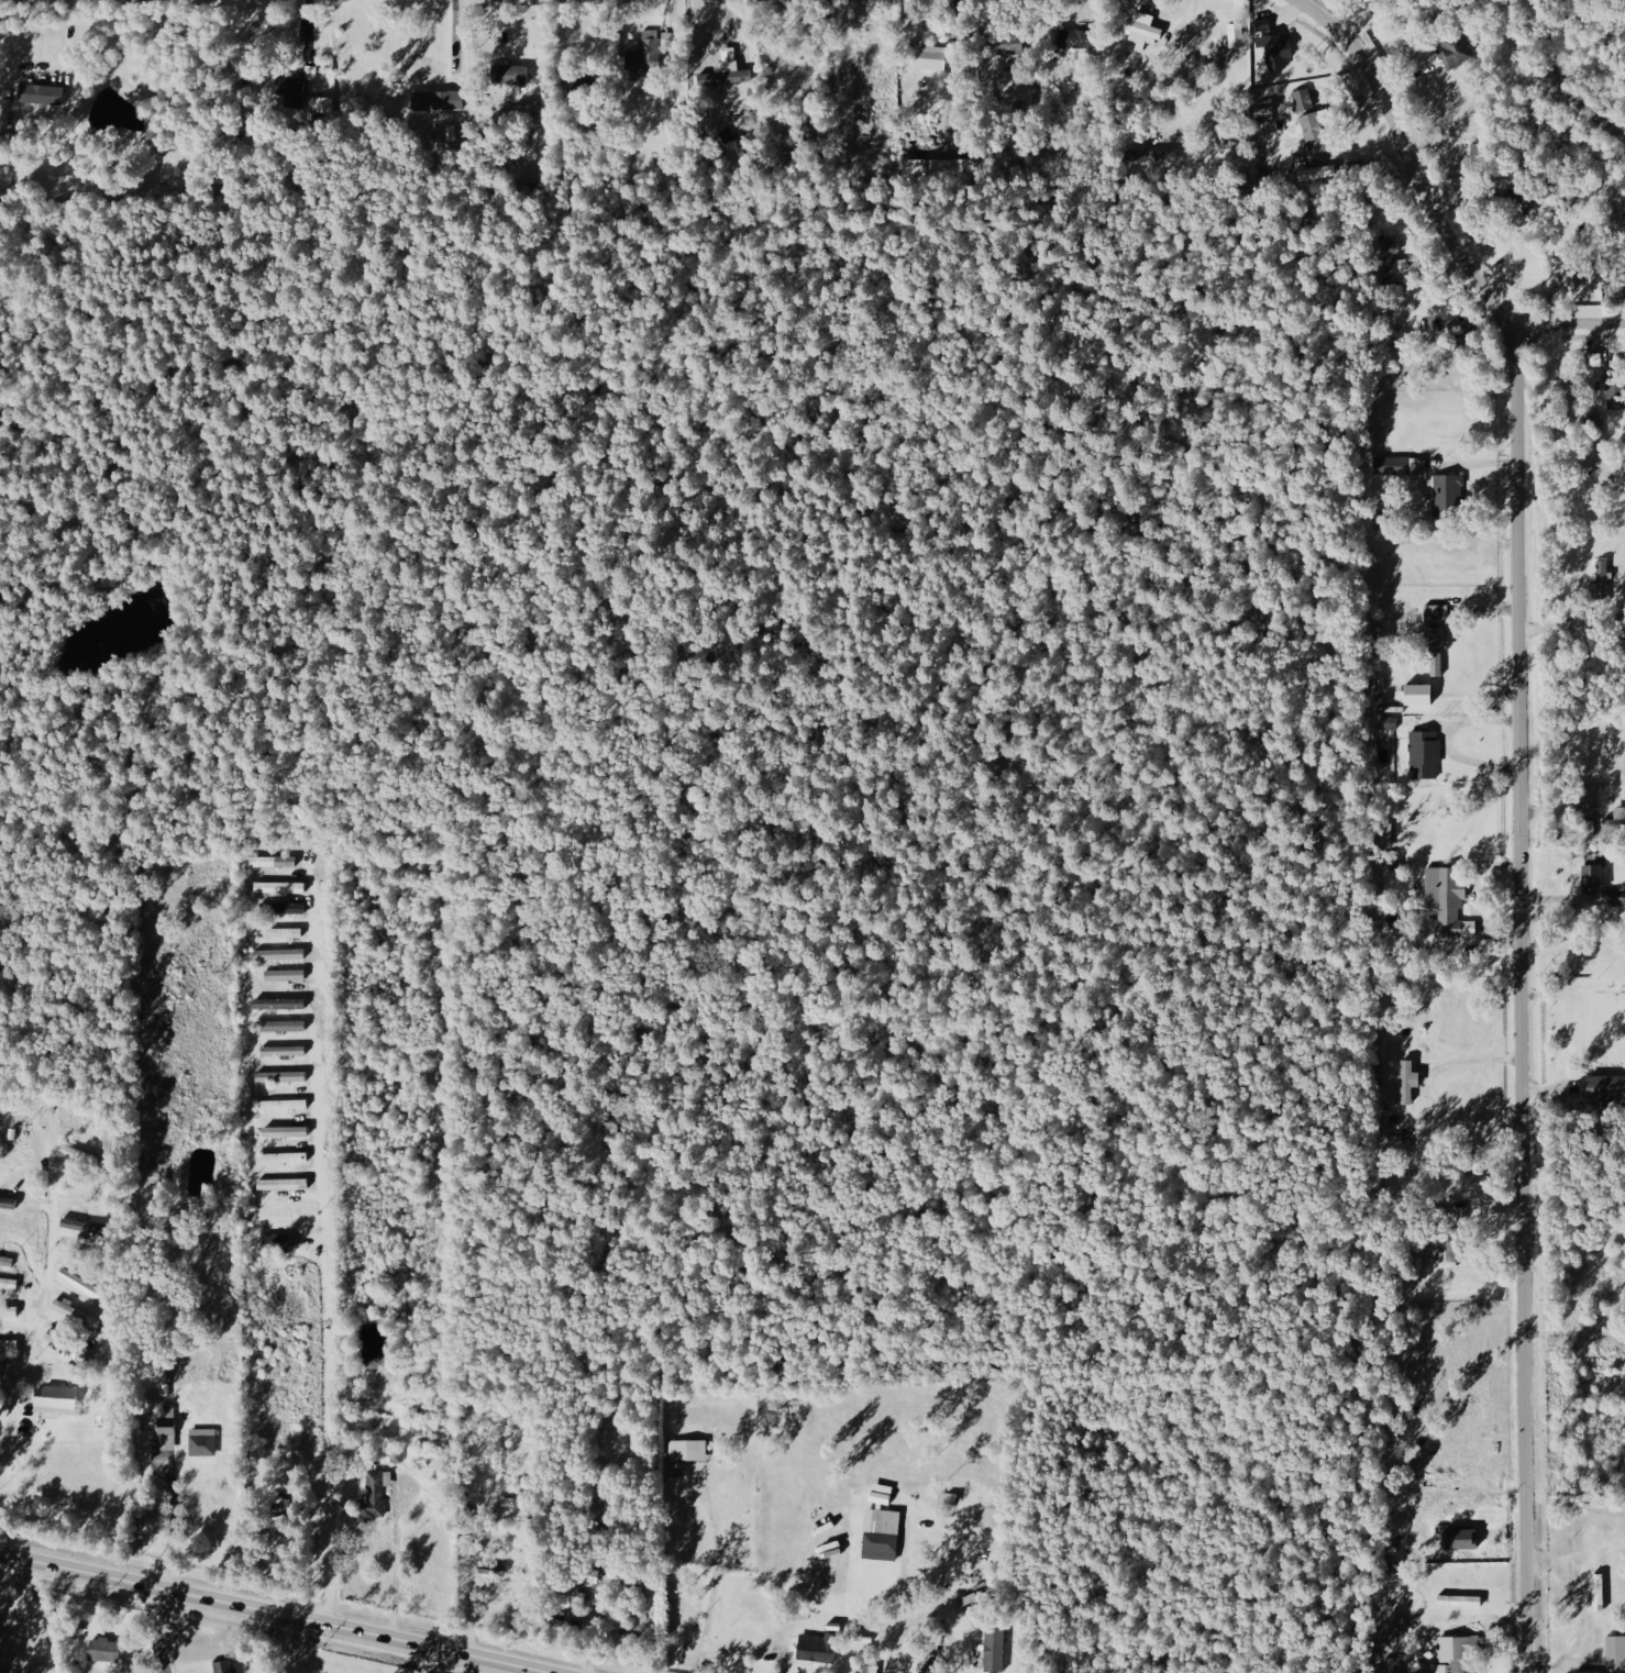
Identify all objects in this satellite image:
building: (1142, 26)
building: (1235, 35)
building: (1073, 38)
building: (1267, 43)
building: (1451, 52)
building: (644, 54)
building: (928, 57)
building: (725, 74)
building: (508, 75)
road: (1561, 80)
building: (295, 84)
building: (43, 95)
building: (432, 100)
building: (1307, 120)
road: (1410, 163)
building: (933, 167)
building: (1317, 173)
building: (1392, 257)
building: (1568, 275)
road: (1569, 320)
building: (1614, 391)
building: (1401, 466)
building: (1450, 489)
building: (1601, 579)
building: (1435, 613)
building: (1437, 650)
building: (1415, 696)
building: (1386, 723)
building: (1423, 755)
building: (1589, 828)
building: (272, 861)
building: (1589, 879)
building: (283, 887)
building: (1446, 902)
building: (289, 907)
building: (289, 932)
building: (283, 954)
building: (288, 974)
building: (284, 1002)
road: (1524, 1004)
building: (284, 1024)
building: (286, 1051)
building: (285, 1076)
building: (1406, 1082)
road: (1429, 1085)
building: (1604, 1087)
building: (287, 1104)
building: (291, 1131)
building: (285, 1156)
building: (287, 1183)
building: (10, 1203)
building: (284, 1241)
road: (322, 1245)
building: (8, 1261)
road: (48, 1275)
building: (11, 1282)
building: (85, 1284)
building: (11, 1311)
building: (79, 1312)
building: (10, 1344)
building: (63, 1400)
building: (172, 1428)
building: (207, 1442)
building: (687, 1451)
building: (1466, 1492)
building: (882, 1494)
building: (377, 1496)
road: (167, 1518)
building: (882, 1530)
building: (1463, 1532)
road: (717, 1567)
building: (497, 1571)
building: (1598, 1593)
building: (1459, 1600)
road: (899, 1603)
building: (652, 1605)
road: (267, 1615)
road: (44, 1616)
road: (161, 1631)
building: (816, 1647)
building: (995, 1648)
building: (109, 1650)
road: (742, 1650)
building: (1455, 1652)
building: (1614, 1652)
road: (425, 1661)
building: (225, 1666)
building: (865, 1669)

